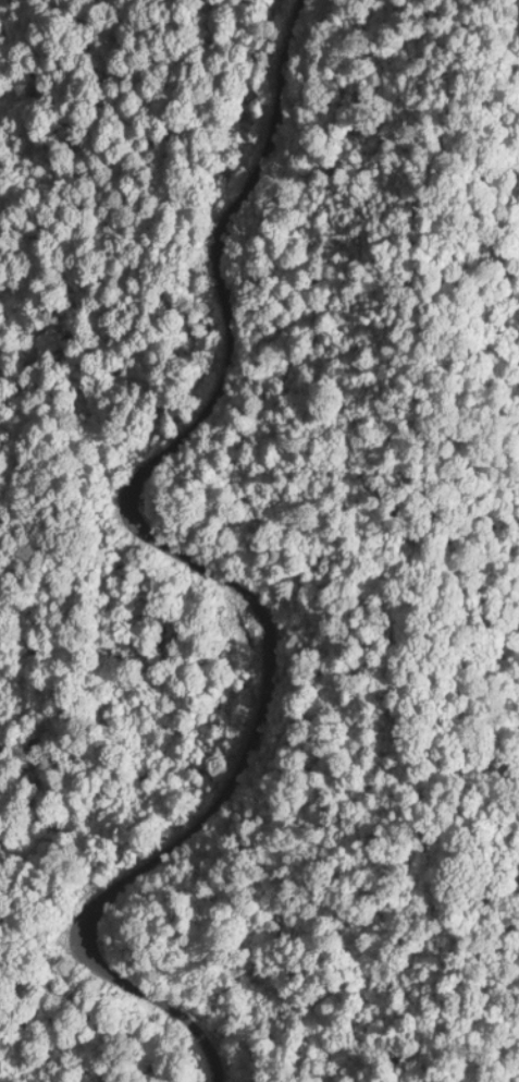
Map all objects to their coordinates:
road: (232, 587)

